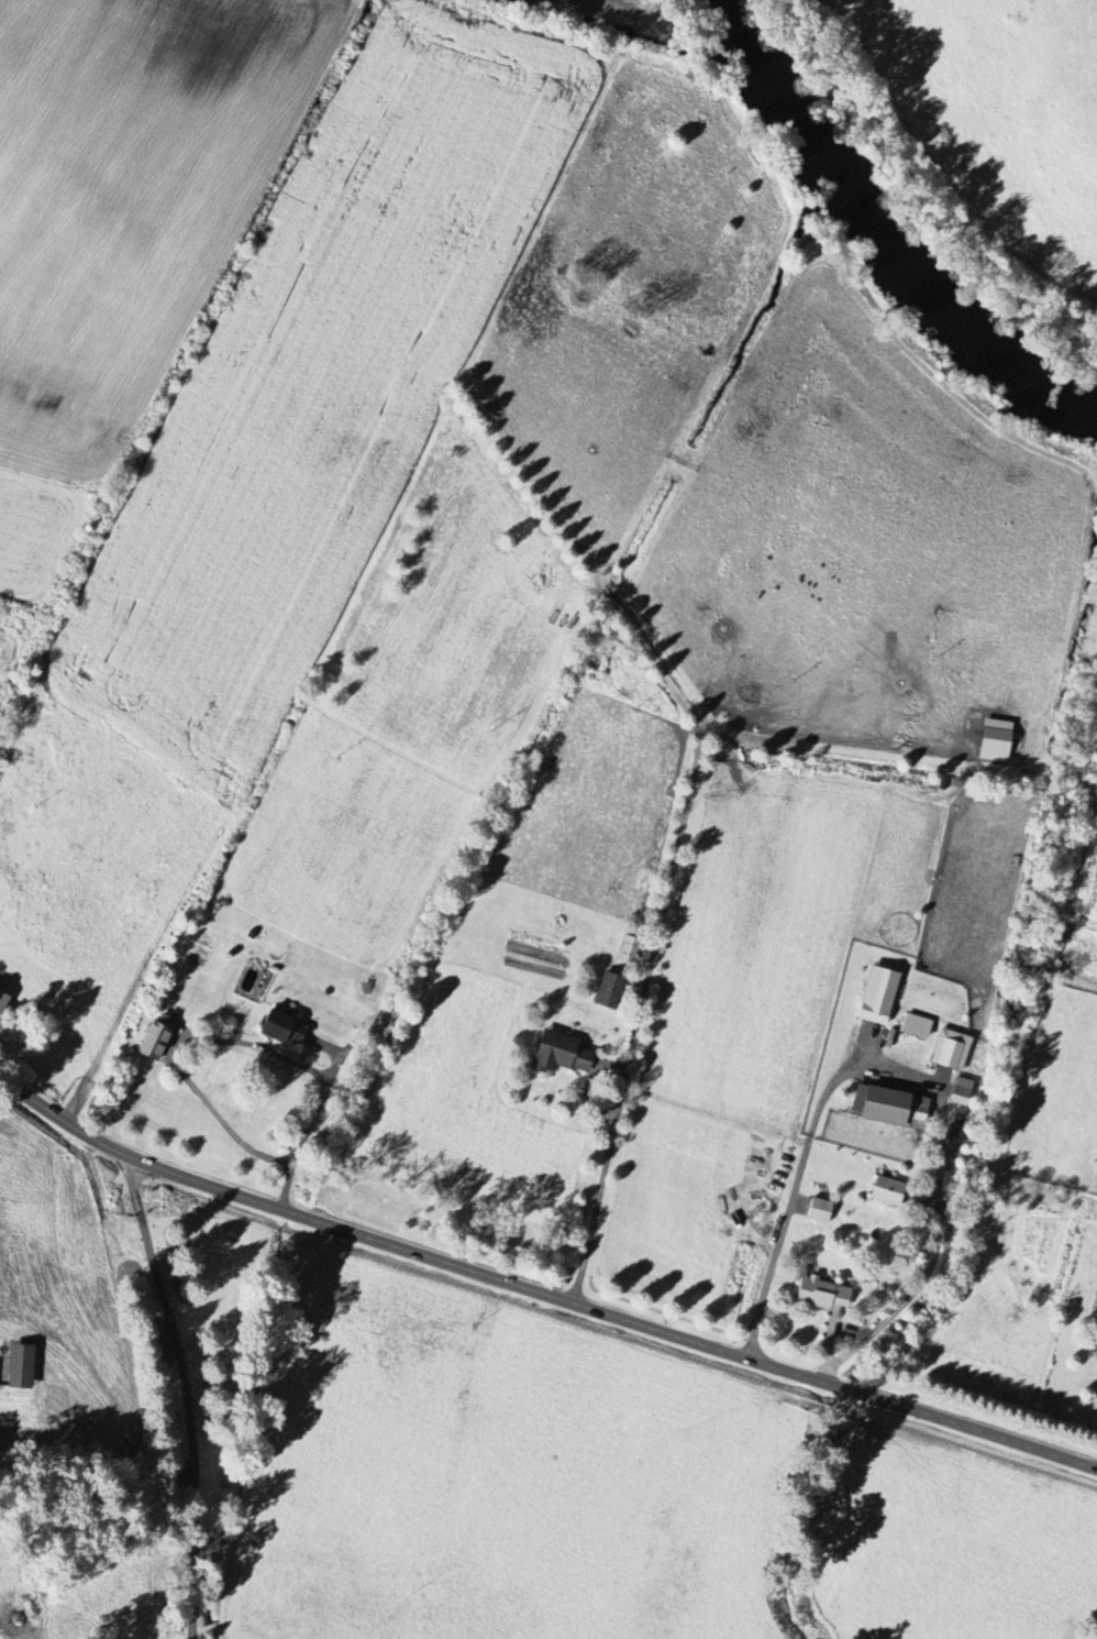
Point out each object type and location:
river: (794, 94)
river: (971, 305)
building: (994, 740)
building: (628, 949)
building: (609, 991)
building: (877, 996)
building: (2, 1001)
building: (916, 1026)
building: (282, 1030)
road: (232, 1041)
building: (146, 1042)
building: (951, 1050)
building: (559, 1053)
road: (910, 1072)
building: (961, 1092)
building: (879, 1105)
road: (616, 1141)
building: (886, 1191)
building: (819, 1211)
road: (301, 1215)
building: (821, 1294)
building: (19, 1366)
road: (857, 1394)
road: (186, 1395)

